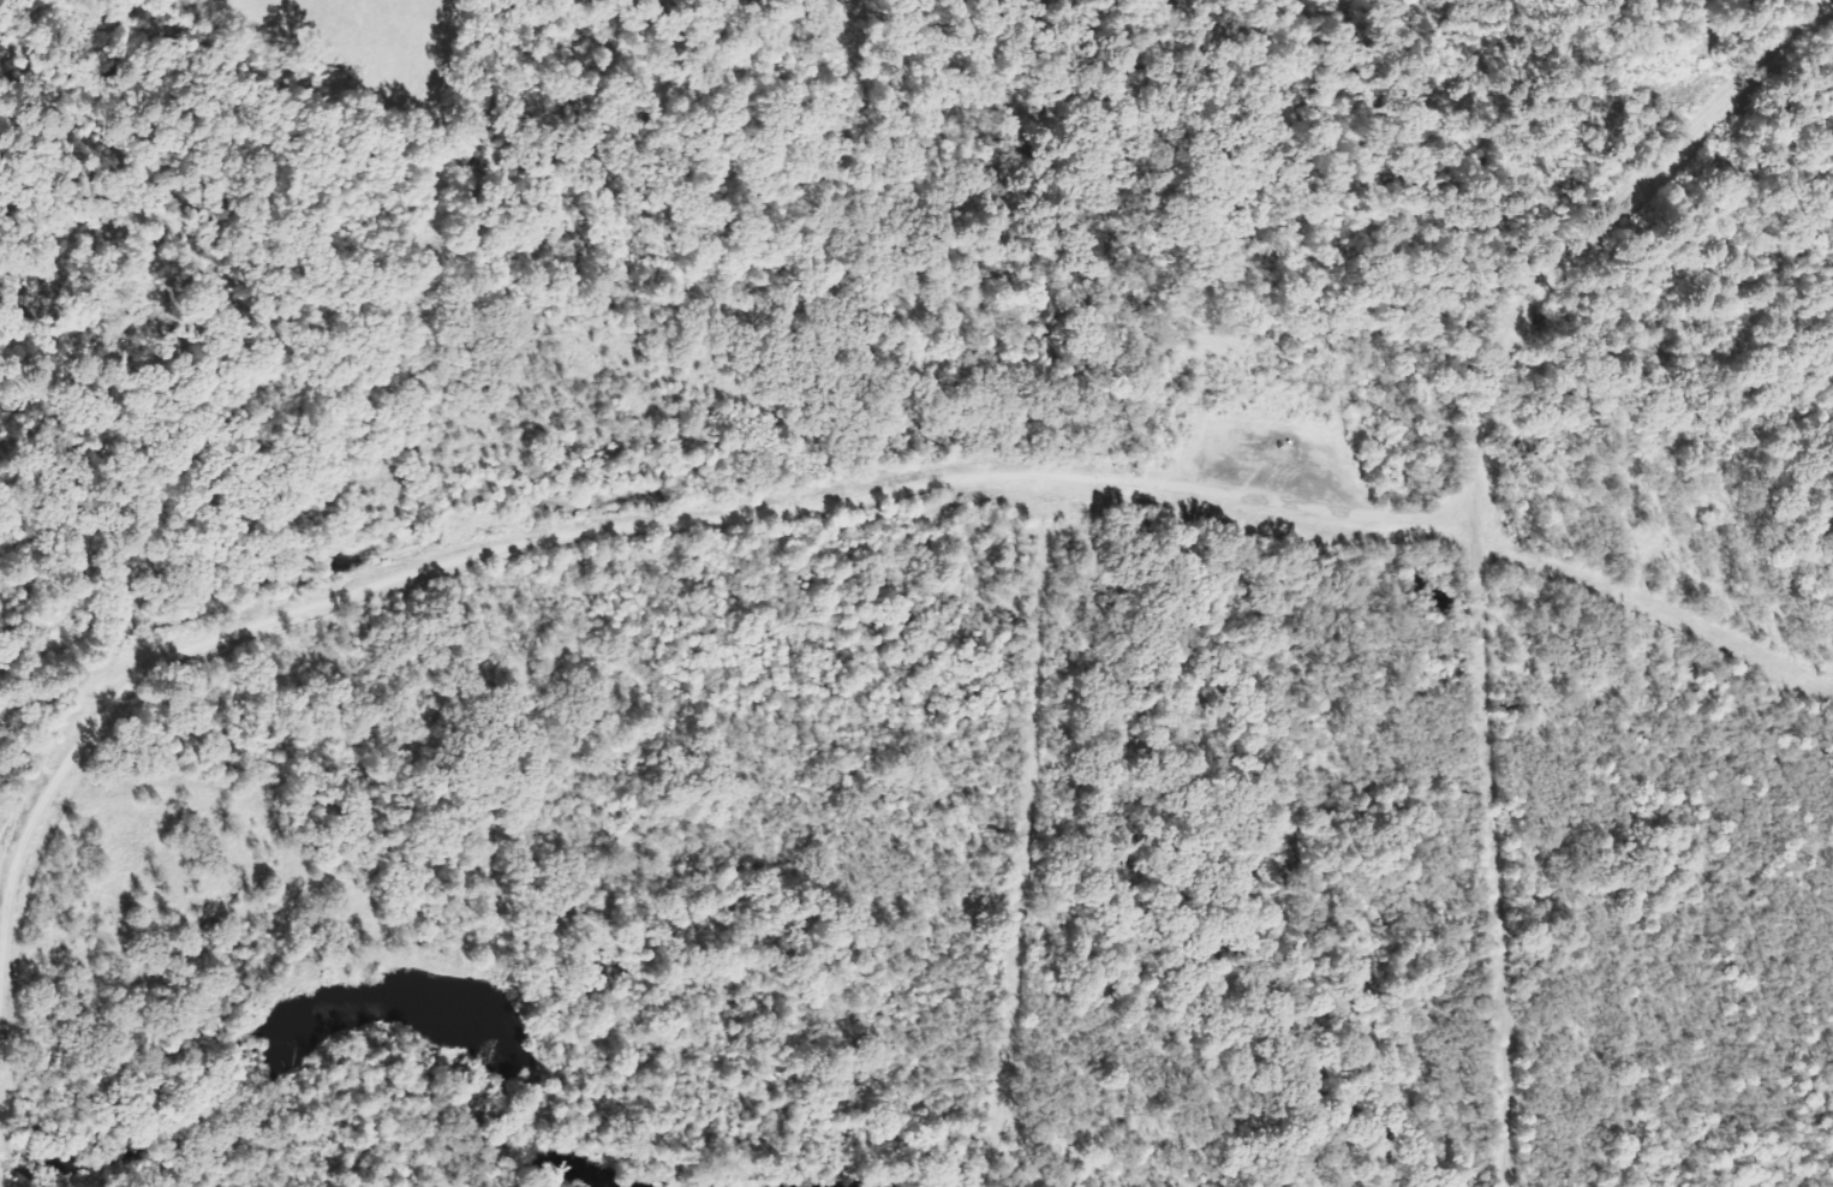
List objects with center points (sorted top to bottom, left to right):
road: (1468, 524)

